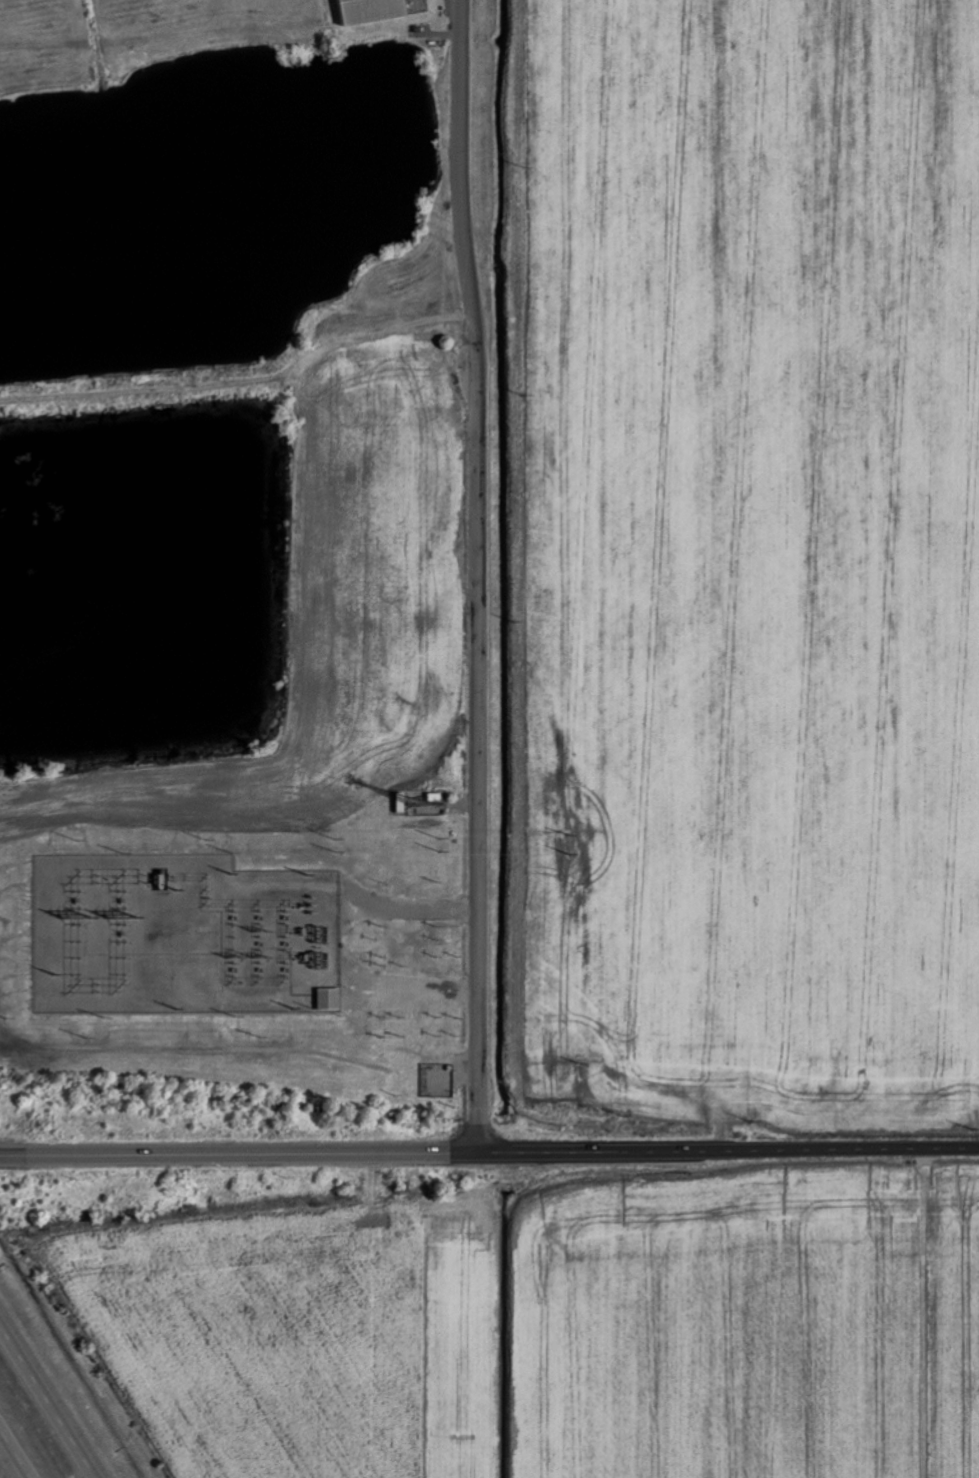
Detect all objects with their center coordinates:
building: (374, 10)
road: (478, 575)
power substation: (181, 935)
building: (331, 999)
road: (489, 1152)
road: (49, 1399)
road: (16, 1451)

